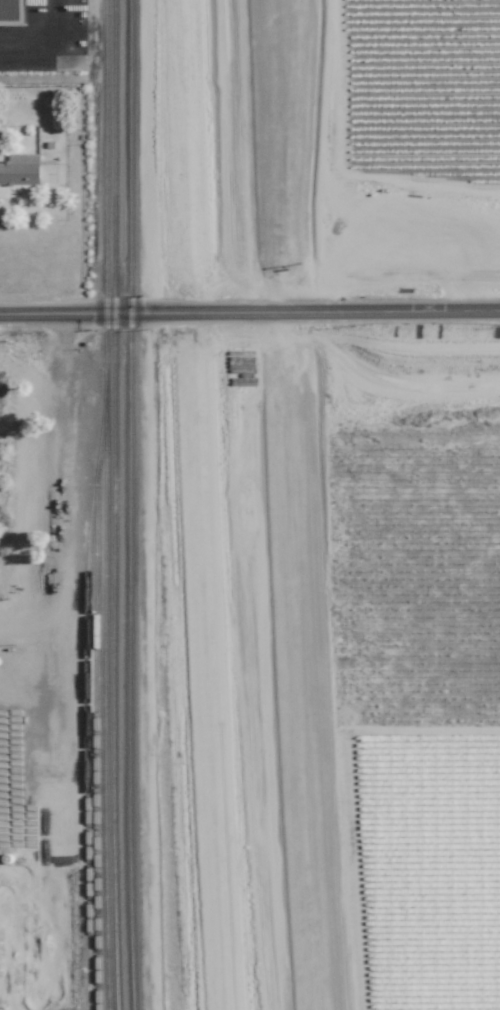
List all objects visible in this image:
building: (17, 13)
road: (0, 49)
railway: (293, 51)
railway: (101, 130)
railway: (287, 140)
building: (20, 174)
road: (249, 313)
railway: (205, 504)
railway: (106, 505)
railway: (116, 505)
railway: (131, 505)
railway: (214, 505)
railway: (244, 505)
railway: (262, 505)
railway: (282, 505)
railway: (87, 697)
railway: (97, 740)

